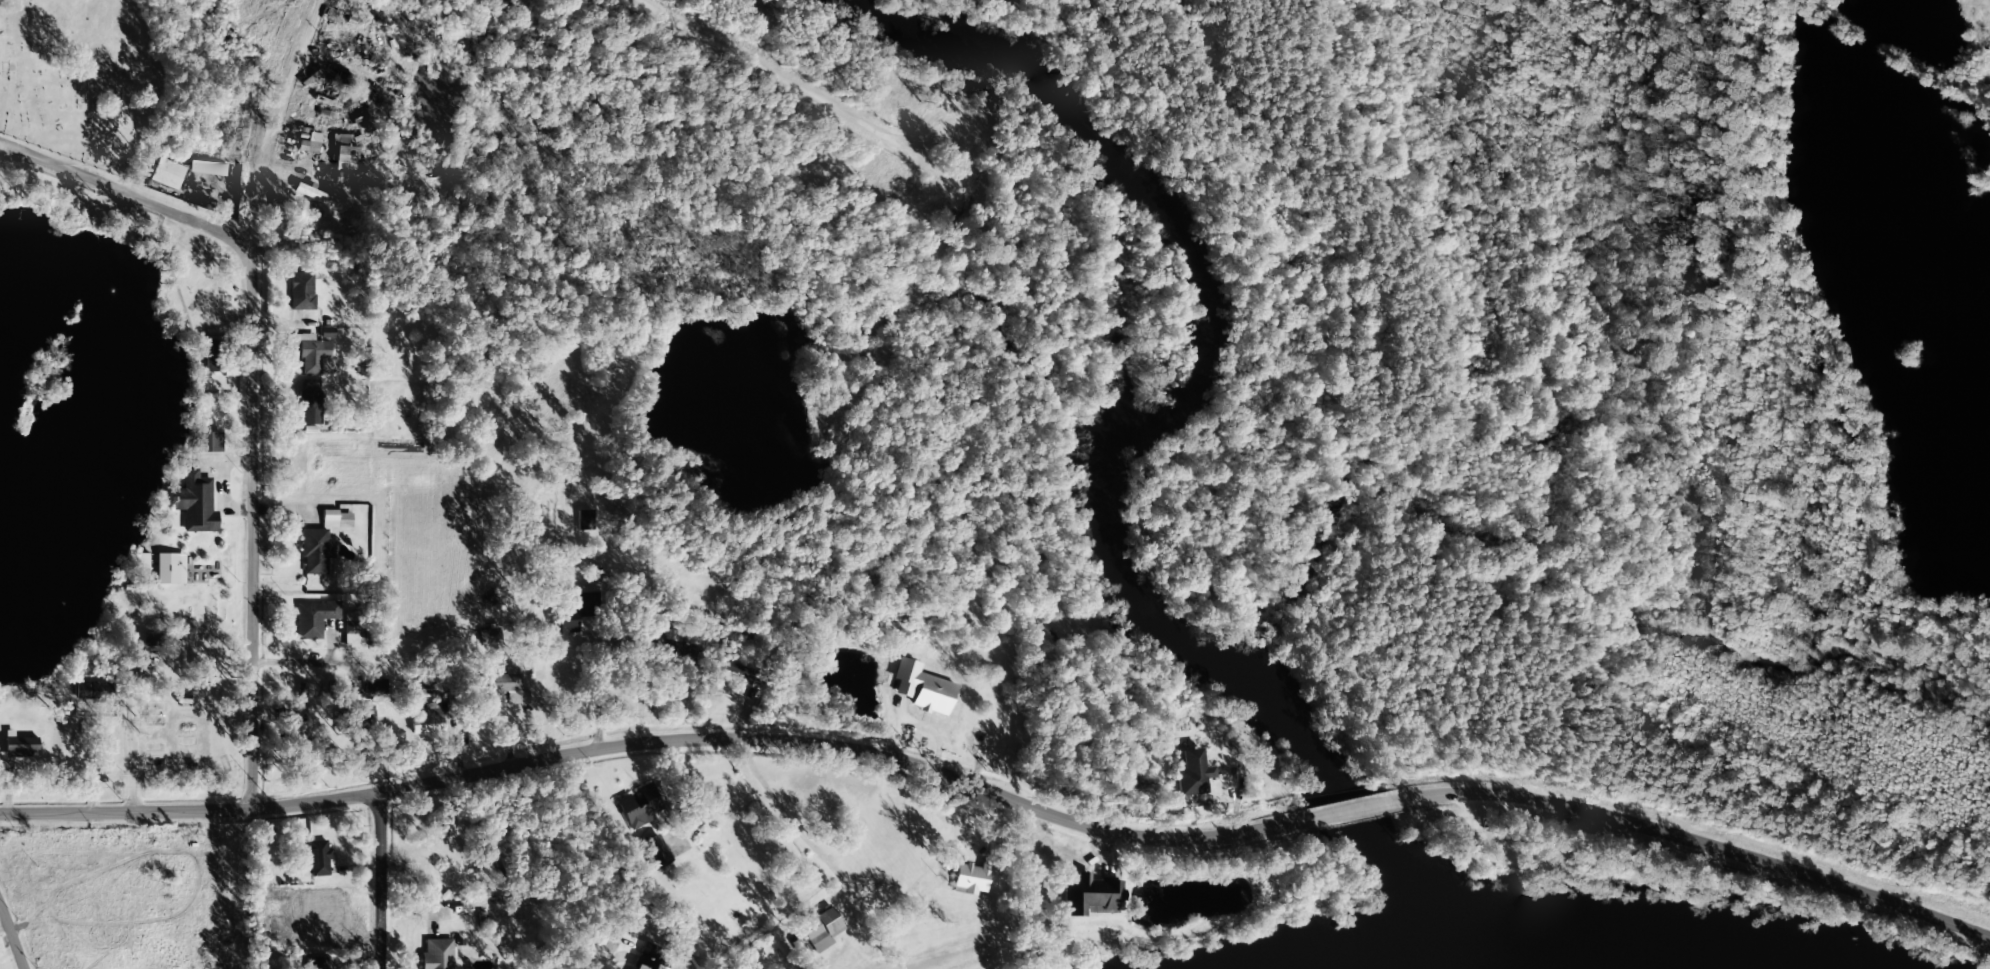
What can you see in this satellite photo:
road: (279, 130)
building: (309, 143)
building: (346, 154)
road: (992, 160)
building: (206, 167)
building: (165, 173)
building: (340, 177)
building: (313, 194)
building: (302, 290)
building: (326, 332)
building: (299, 337)
building: (211, 354)
building: (314, 357)
road: (252, 386)
building: (309, 402)
building: (207, 441)
building: (195, 502)
building: (584, 519)
building: (315, 551)
building: (169, 568)
building: (577, 609)
building: (314, 617)
building: (489, 633)
building: (351, 634)
road: (293, 661)
building: (734, 668)
road: (1855, 674)
building: (906, 676)
road: (706, 681)
building: (504, 685)
building: (375, 687)
building: (413, 689)
building: (92, 691)
building: (365, 716)
building: (427, 722)
building: (298, 733)
road: (657, 743)
building: (19, 746)
building: (1191, 773)
road: (775, 804)
building: (640, 807)
road: (1347, 812)
building: (691, 821)
road: (1696, 842)
building: (655, 851)
building: (317, 857)
road: (373, 878)
building: (970, 878)
building: (1090, 894)
building: (819, 929)
road: (14, 935)
river: (1571, 941)
building: (438, 955)
building: (316, 962)

